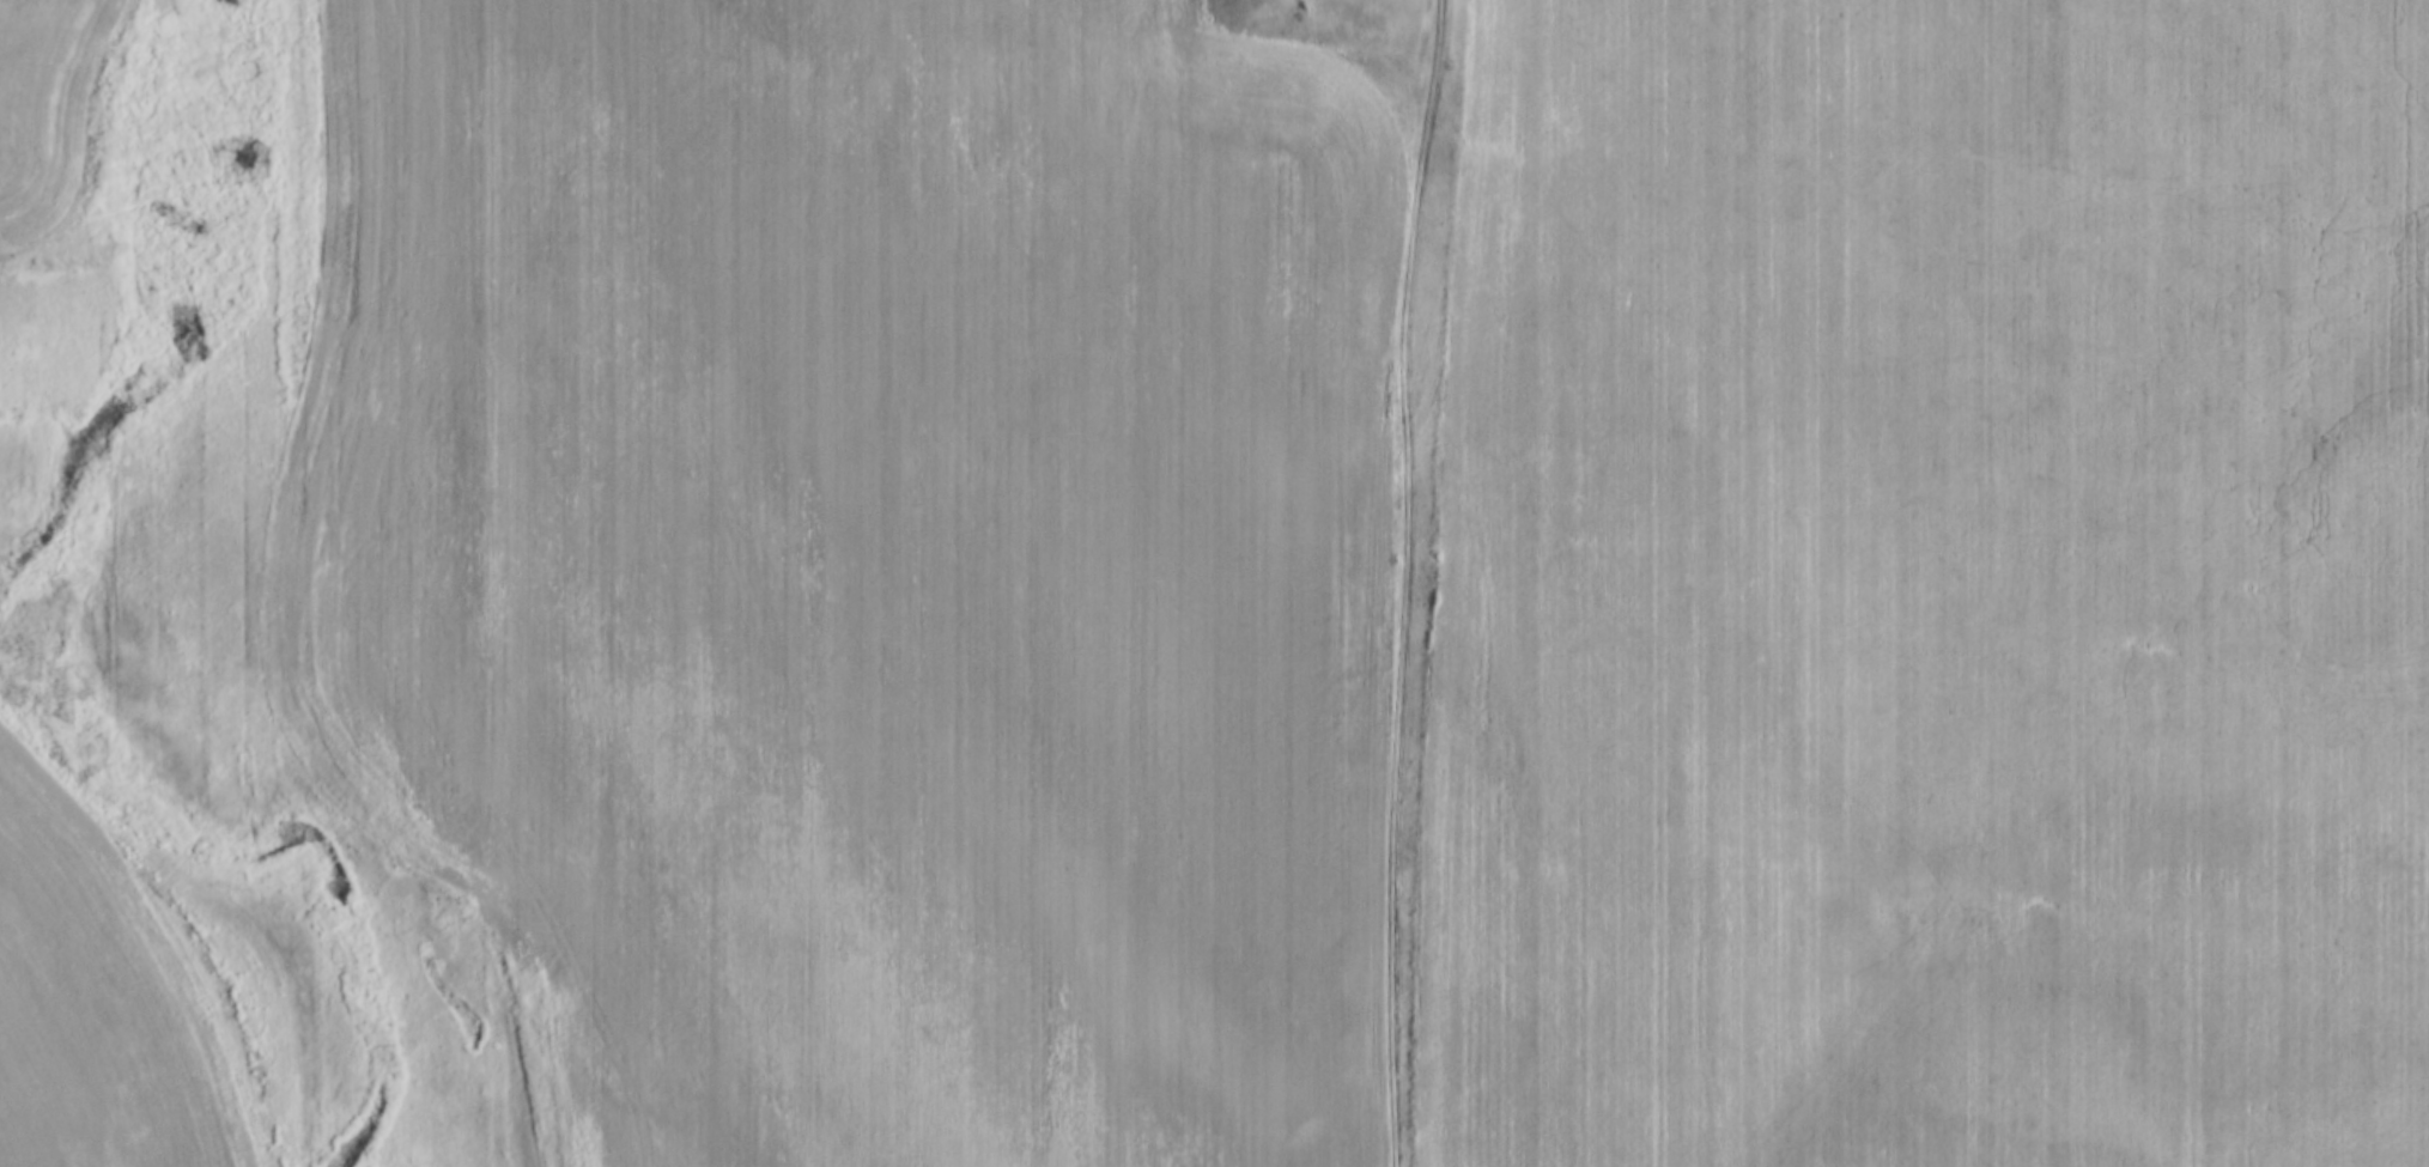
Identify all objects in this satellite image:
road: (1402, 582)

